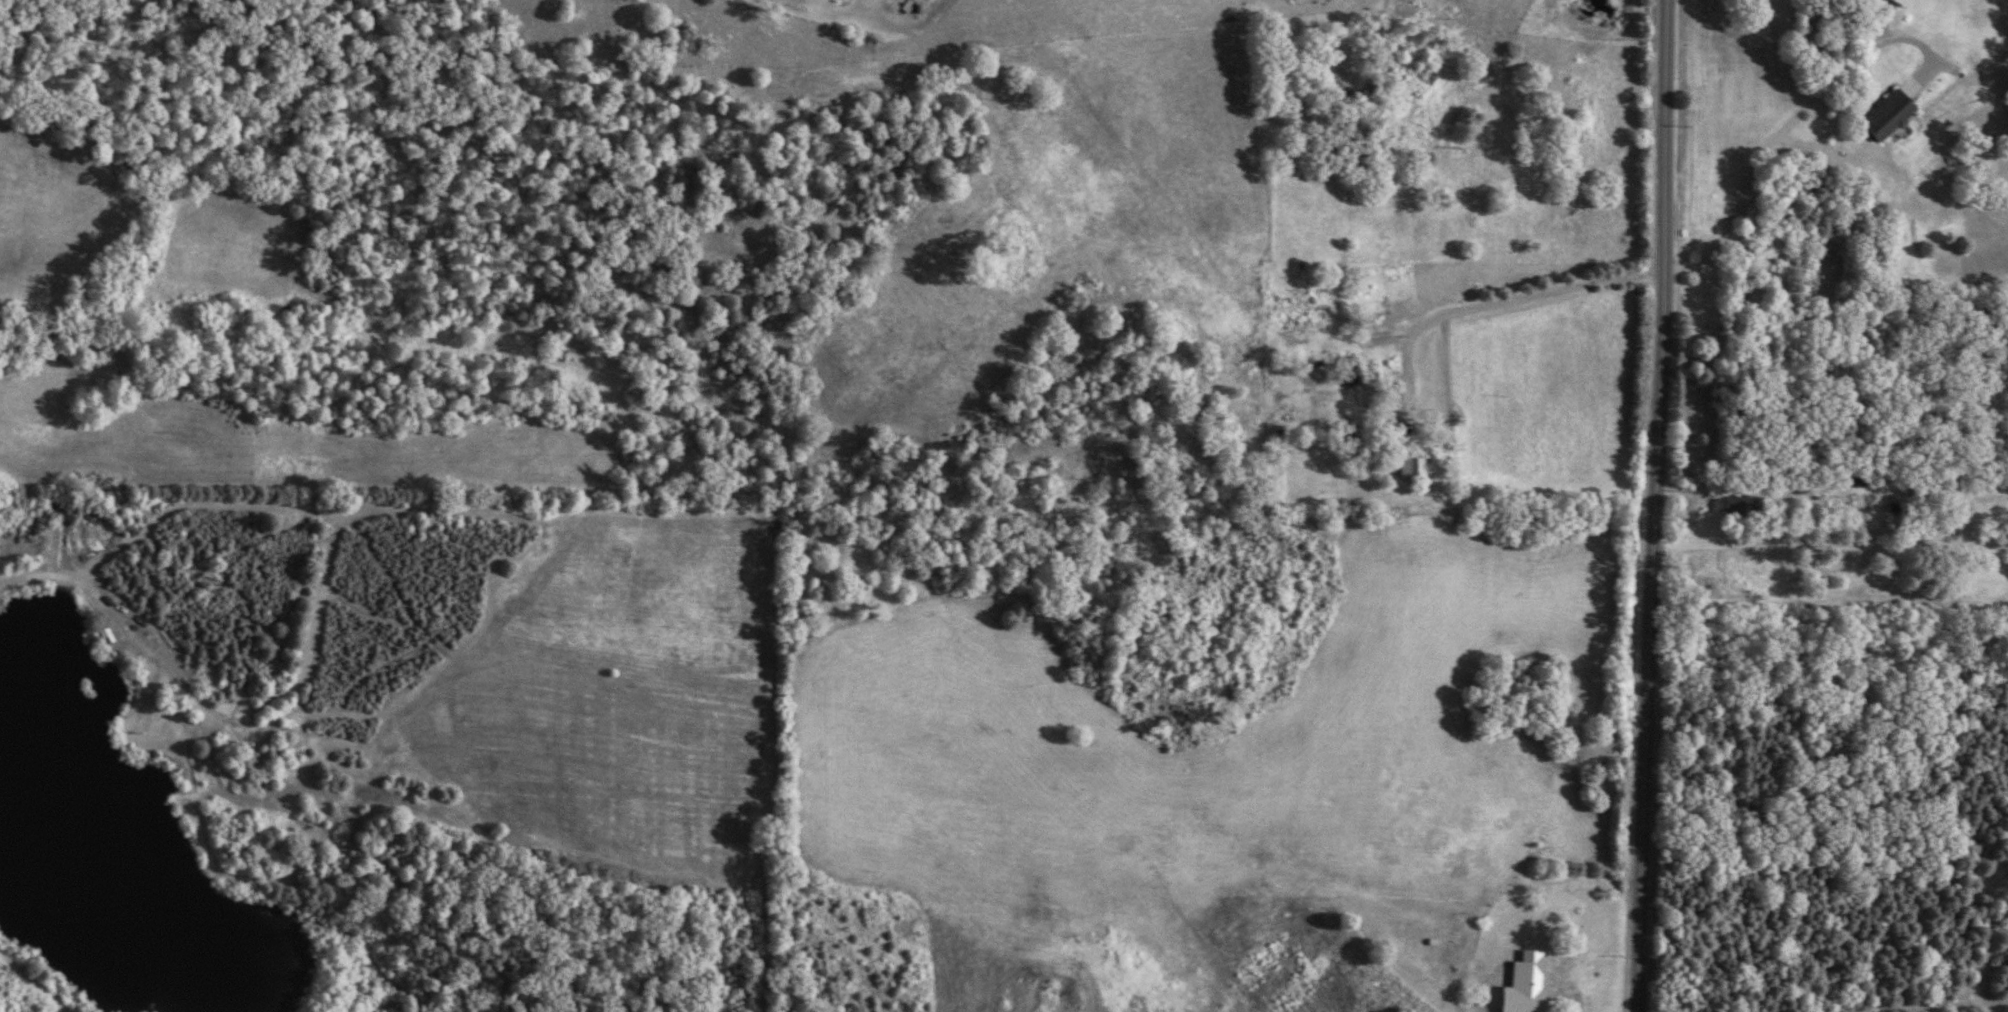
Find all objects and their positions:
road: (1784, 127)
road: (1524, 289)
building: (1837, 501)
building: (1738, 505)
road: (1657, 506)
road: (1831, 551)
building: (1525, 971)

